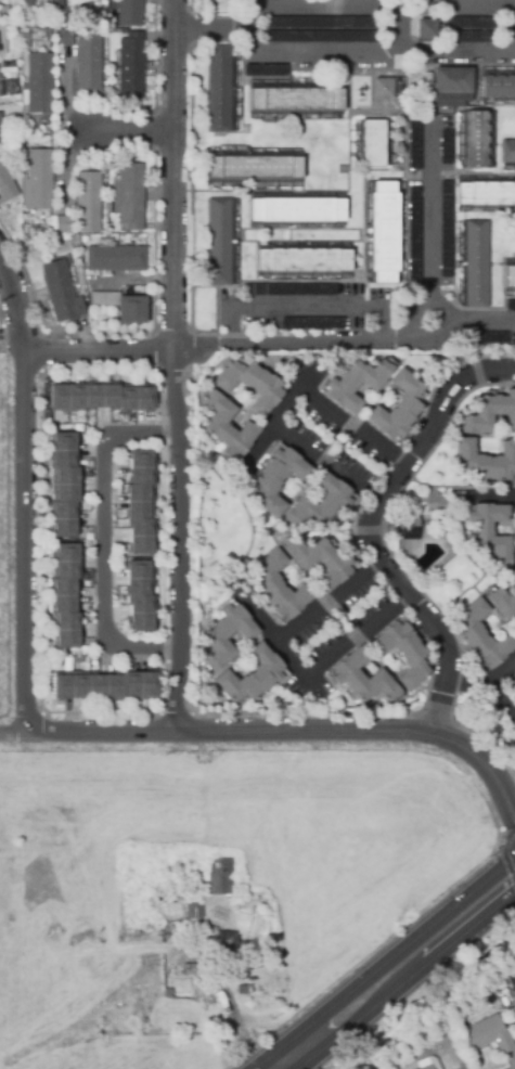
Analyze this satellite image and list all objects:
building: (28, 3)
building: (53, 3)
road: (370, 4)
building: (218, 7)
building: (128, 13)
building: (67, 22)
building: (468, 22)
building: (319, 23)
road: (208, 27)
building: (425, 30)
building: (318, 38)
building: (468, 38)
building: (63, 39)
building: (1, 48)
road: (371, 48)
building: (88, 61)
building: (130, 66)
building: (263, 70)
building: (37, 83)
building: (427, 88)
building: (451, 88)
building: (498, 88)
building: (383, 89)
building: (218, 93)
building: (5, 94)
building: (294, 100)
road: (127, 136)
building: (1, 137)
building: (413, 141)
building: (475, 141)
building: (372, 144)
building: (446, 151)
building: (507, 152)
building: (254, 168)
building: (38, 180)
building: (7, 185)
building: (485, 194)
building: (129, 197)
building: (87, 203)
building: (296, 210)
road: (425, 222)
building: (62, 226)
building: (445, 230)
building: (383, 233)
building: (413, 236)
building: (218, 242)
building: (115, 259)
building: (301, 261)
building: (475, 265)
building: (508, 278)
building: (293, 291)
building: (60, 294)
building: (511, 306)
building: (121, 307)
road: (305, 307)
building: (314, 324)
building: (489, 338)
road: (269, 342)
road: (171, 365)
building: (249, 385)
building: (355, 385)
building: (102, 397)
road: (284, 407)
building: (397, 408)
building: (490, 414)
building: (227, 428)
building: (487, 461)
building: (276, 480)
building: (65, 485)
road: (451, 494)
road: (23, 502)
building: (142, 502)
building: (318, 503)
building: (514, 523)
road: (370, 526)
building: (409, 529)
building: (489, 533)
road: (103, 542)
building: (319, 562)
building: (514, 564)
building: (279, 587)
building: (66, 596)
building: (142, 596)
building: (502, 603)
road: (259, 618)
building: (514, 630)
building: (153, 636)
building: (224, 636)
building: (480, 636)
building: (402, 653)
road: (288, 657)
building: (250, 675)
building: (360, 678)
road: (484, 682)
building: (105, 686)
road: (502, 695)
road: (280, 732)
building: (186, 870)
building: (167, 871)
building: (150, 872)
building: (223, 875)
building: (196, 911)
building: (53, 932)
building: (223, 943)
road: (391, 959)
building: (252, 962)
building: (191, 969)
building: (511, 979)
road: (402, 982)
building: (243, 990)
building: (166, 994)
road: (239, 1025)
building: (485, 1036)
building: (426, 1062)

